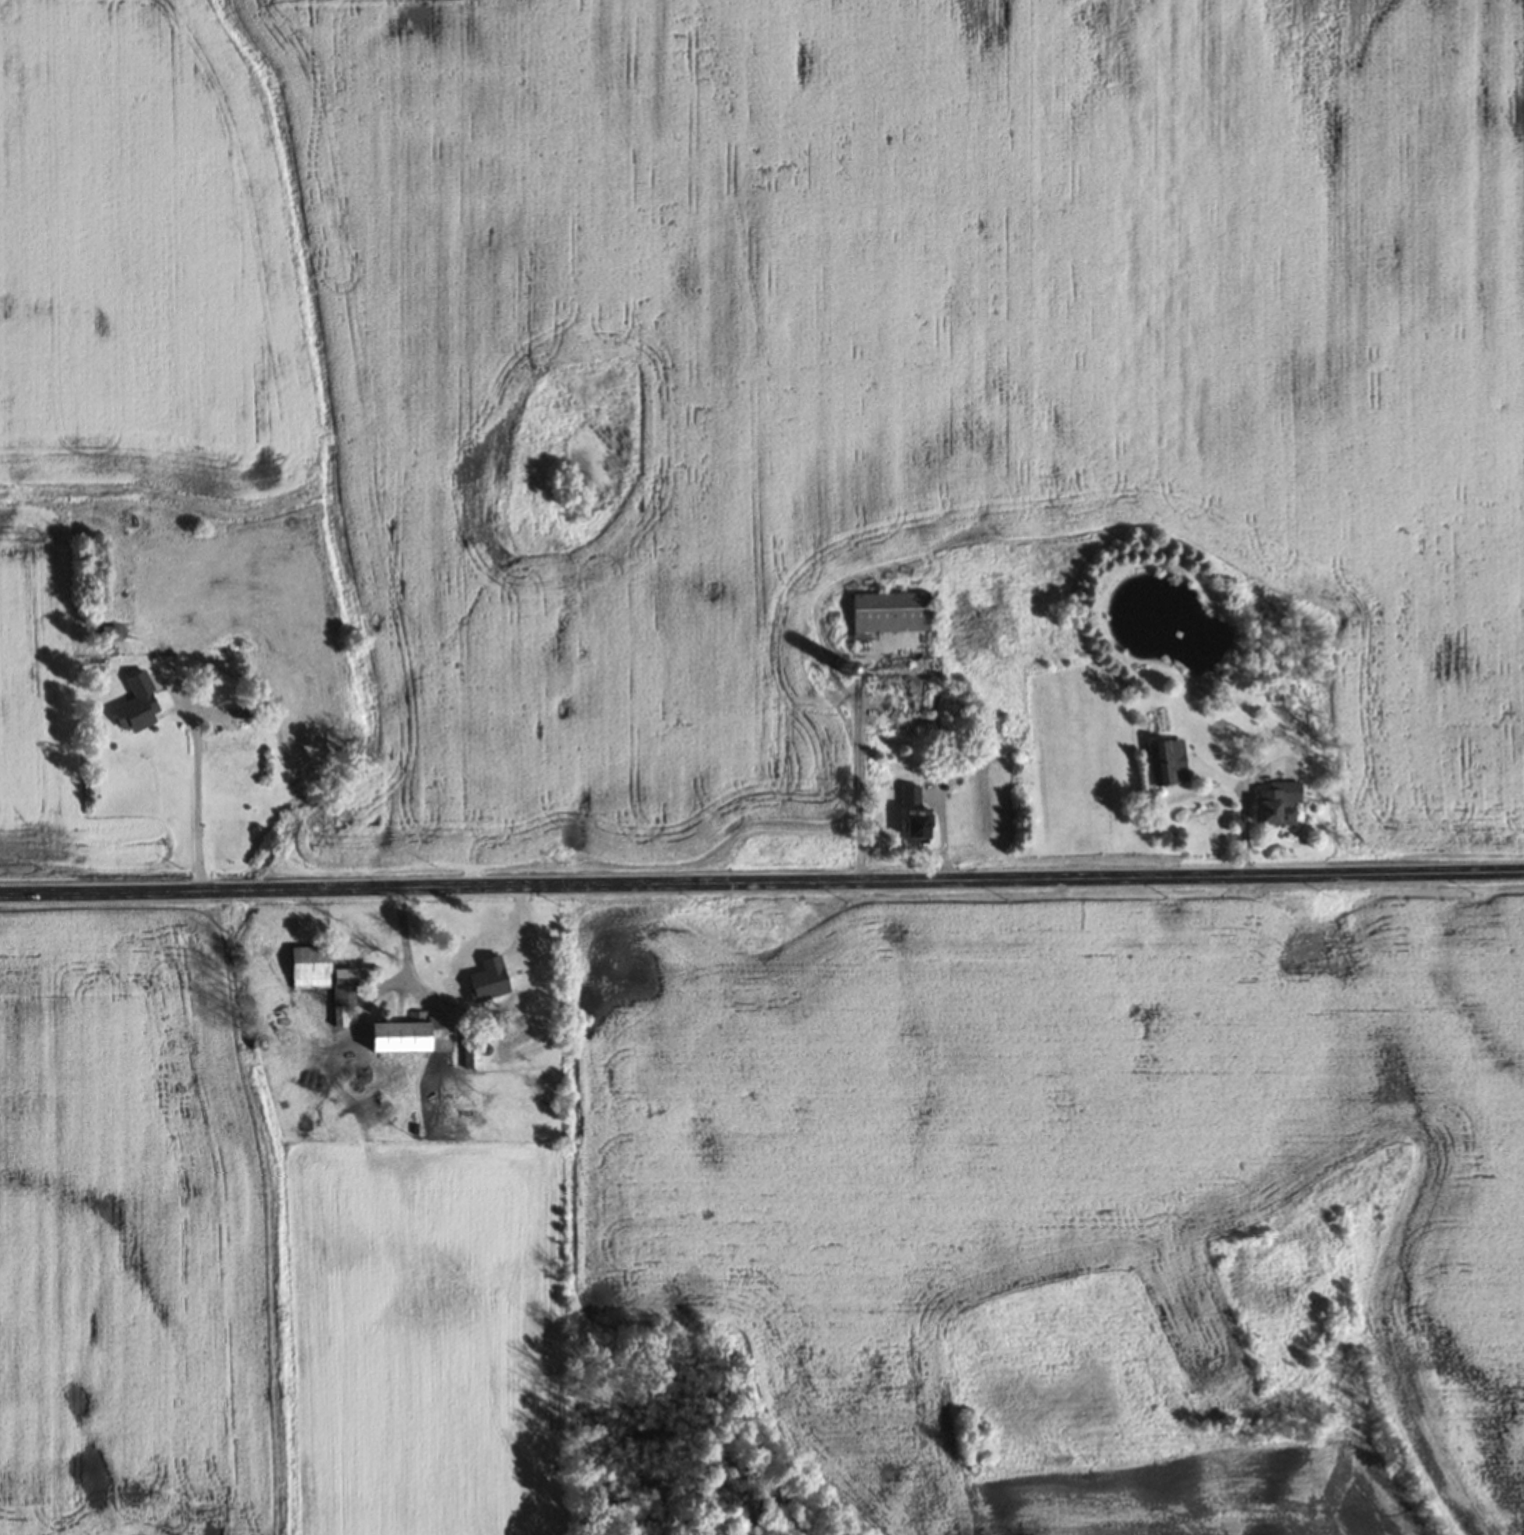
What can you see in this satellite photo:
building: (890, 611)
building: (110, 634)
building: (997, 728)
building: (232, 734)
building: (1161, 764)
building: (909, 795)
building: (1277, 803)
building: (915, 826)
road: (761, 883)
building: (309, 967)
building: (475, 982)
building: (342, 994)
building: (406, 1042)
building: (470, 1051)

